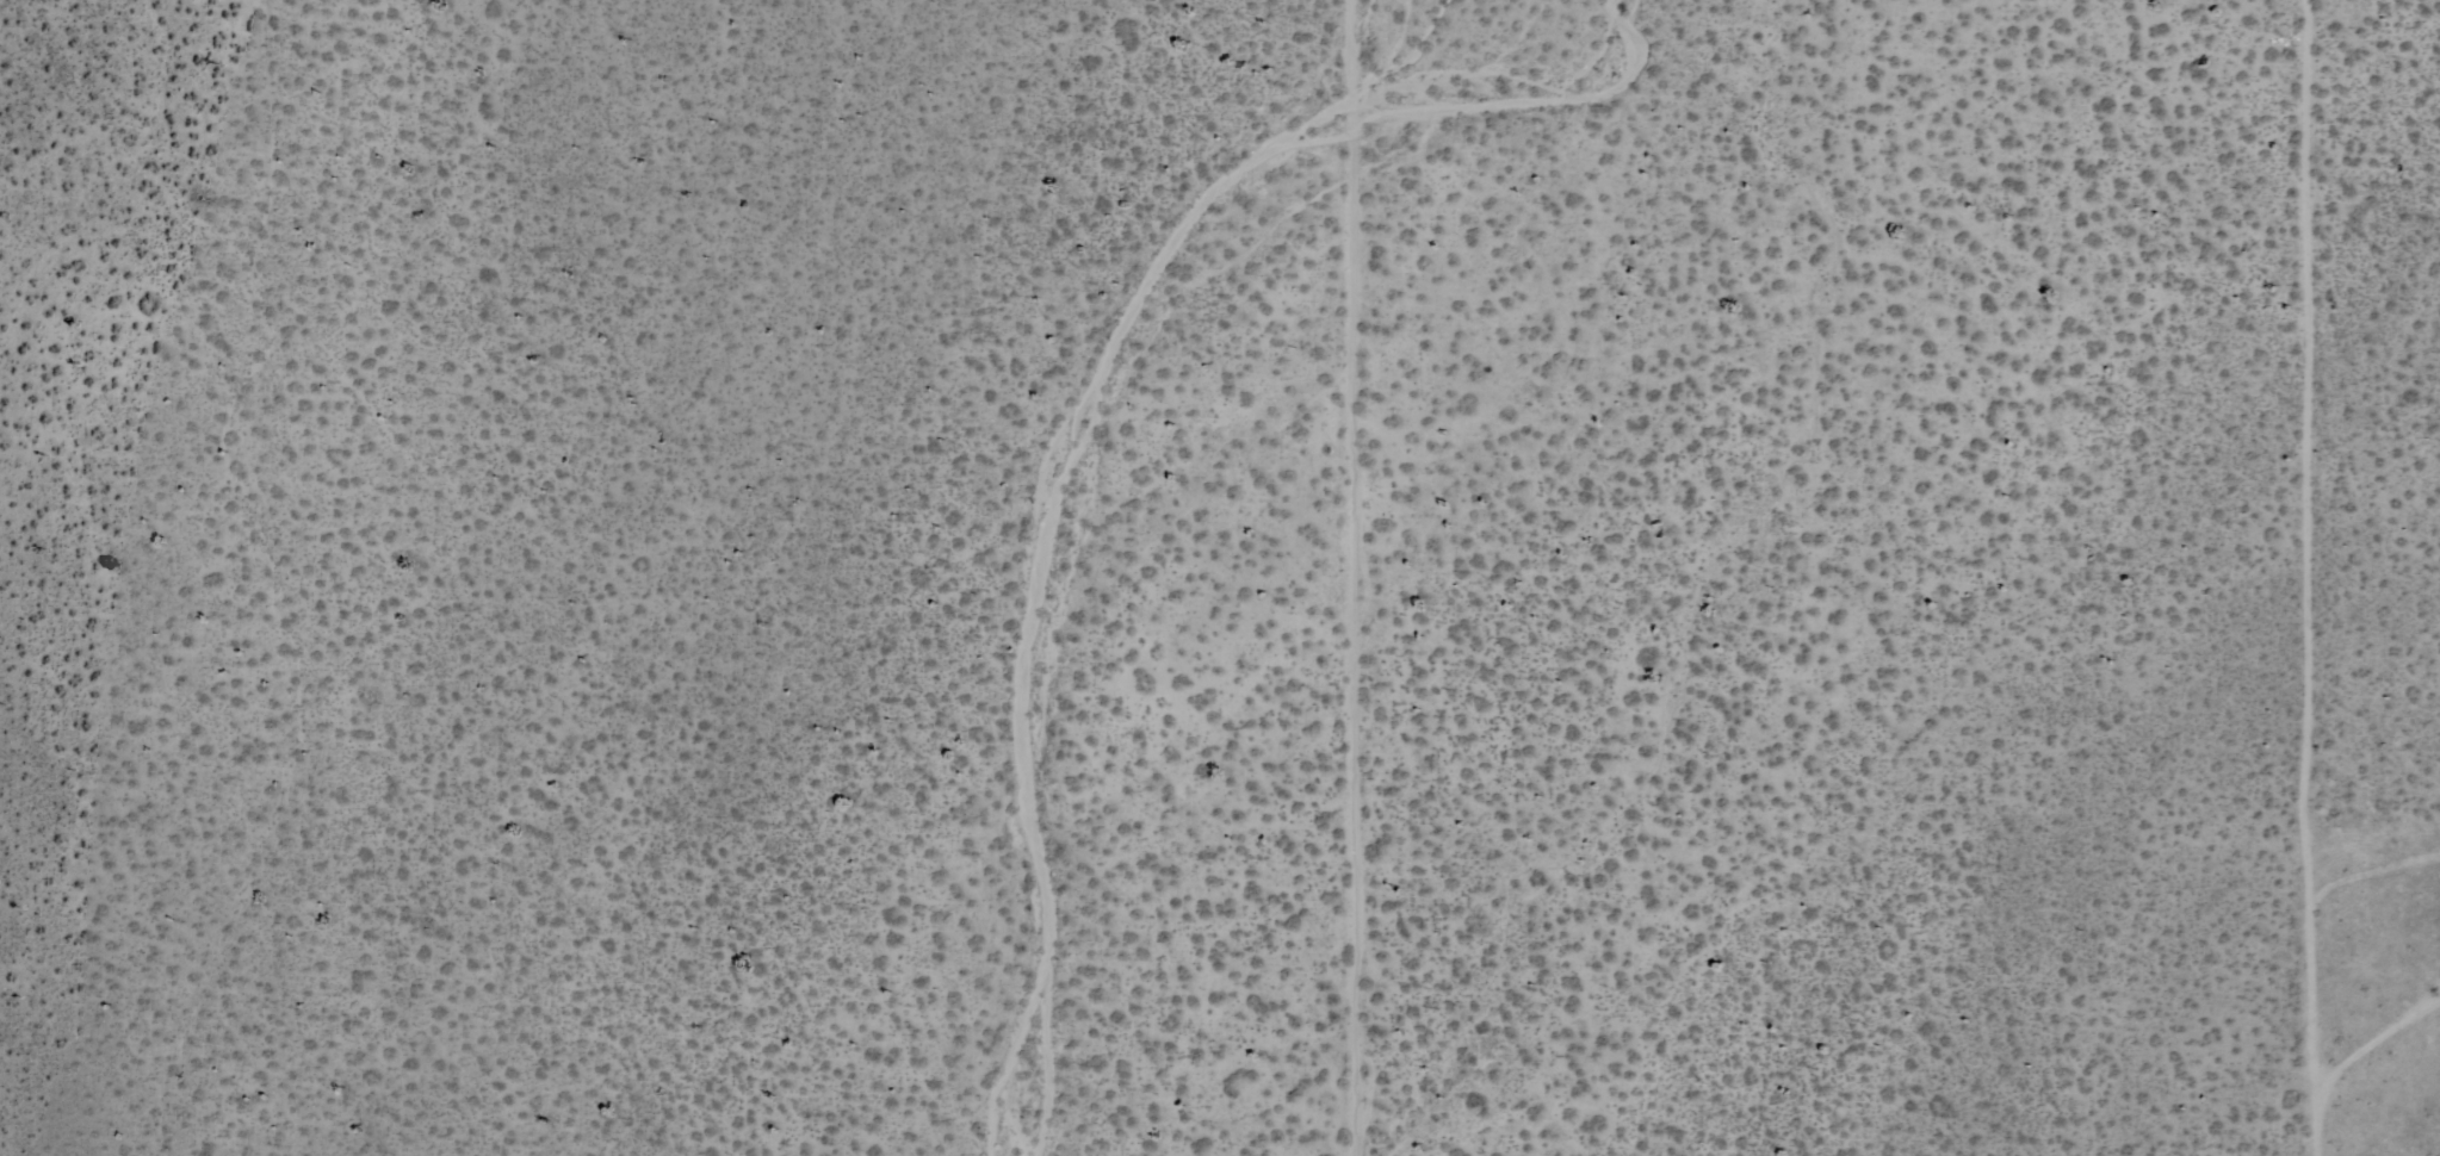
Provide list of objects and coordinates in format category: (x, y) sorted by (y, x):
road: (1348, 577)
road: (2308, 578)

